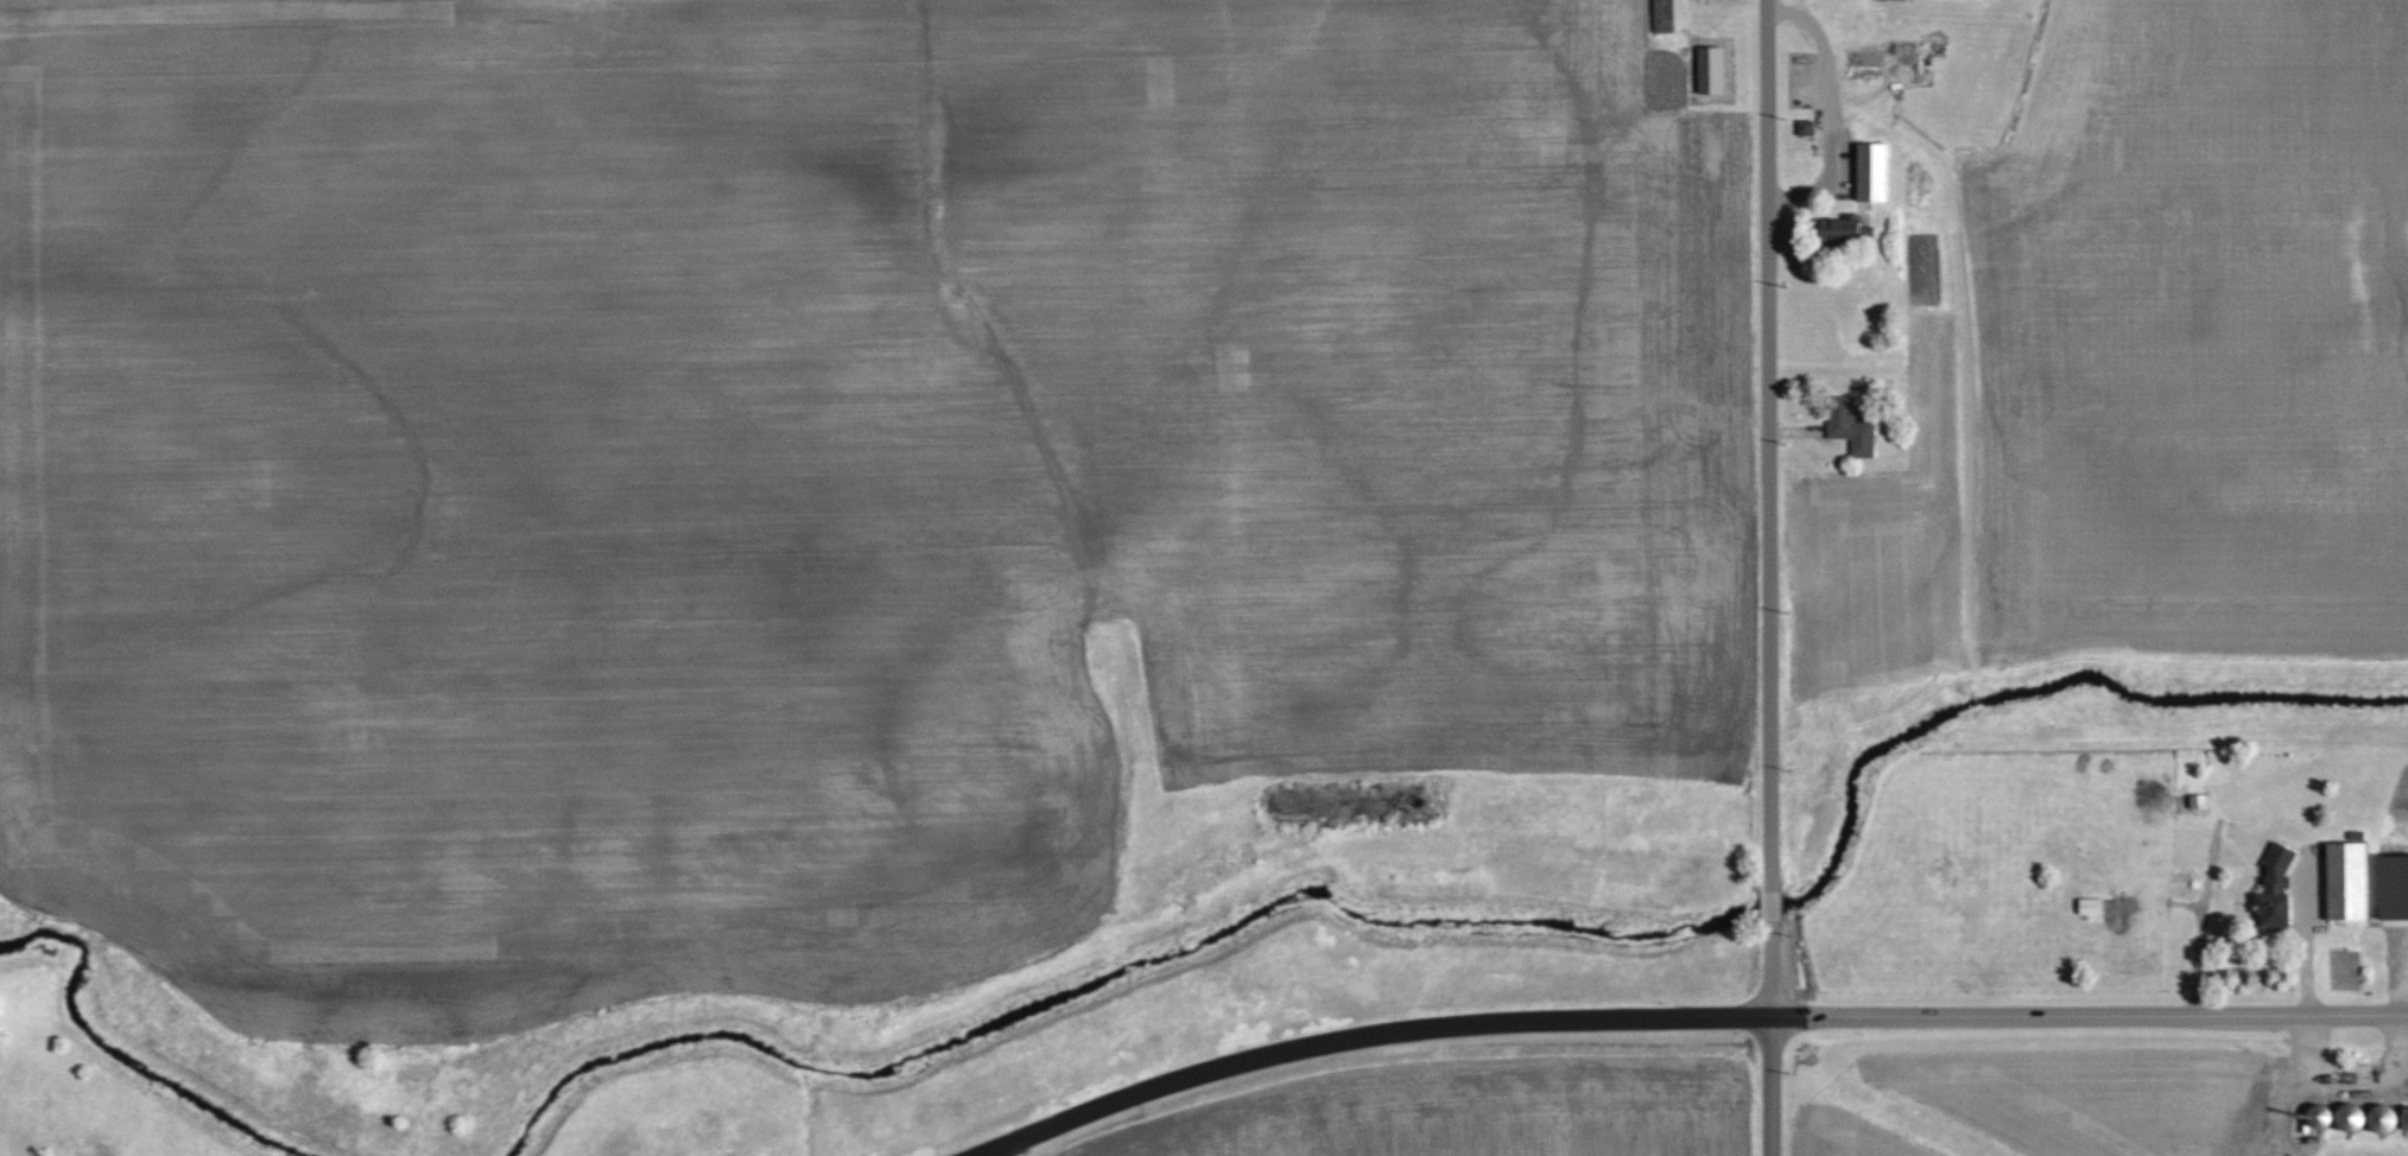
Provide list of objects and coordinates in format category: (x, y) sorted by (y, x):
building: (1712, 68)
building: (1807, 126)
building: (1875, 171)
building: (1851, 229)
building: (1851, 425)
road: (1778, 449)
building: (2349, 881)
building: (2279, 888)
building: (2092, 906)
road: (1781, 914)
road: (1697, 1023)
road: (1782, 1043)
road: (1027, 1151)

